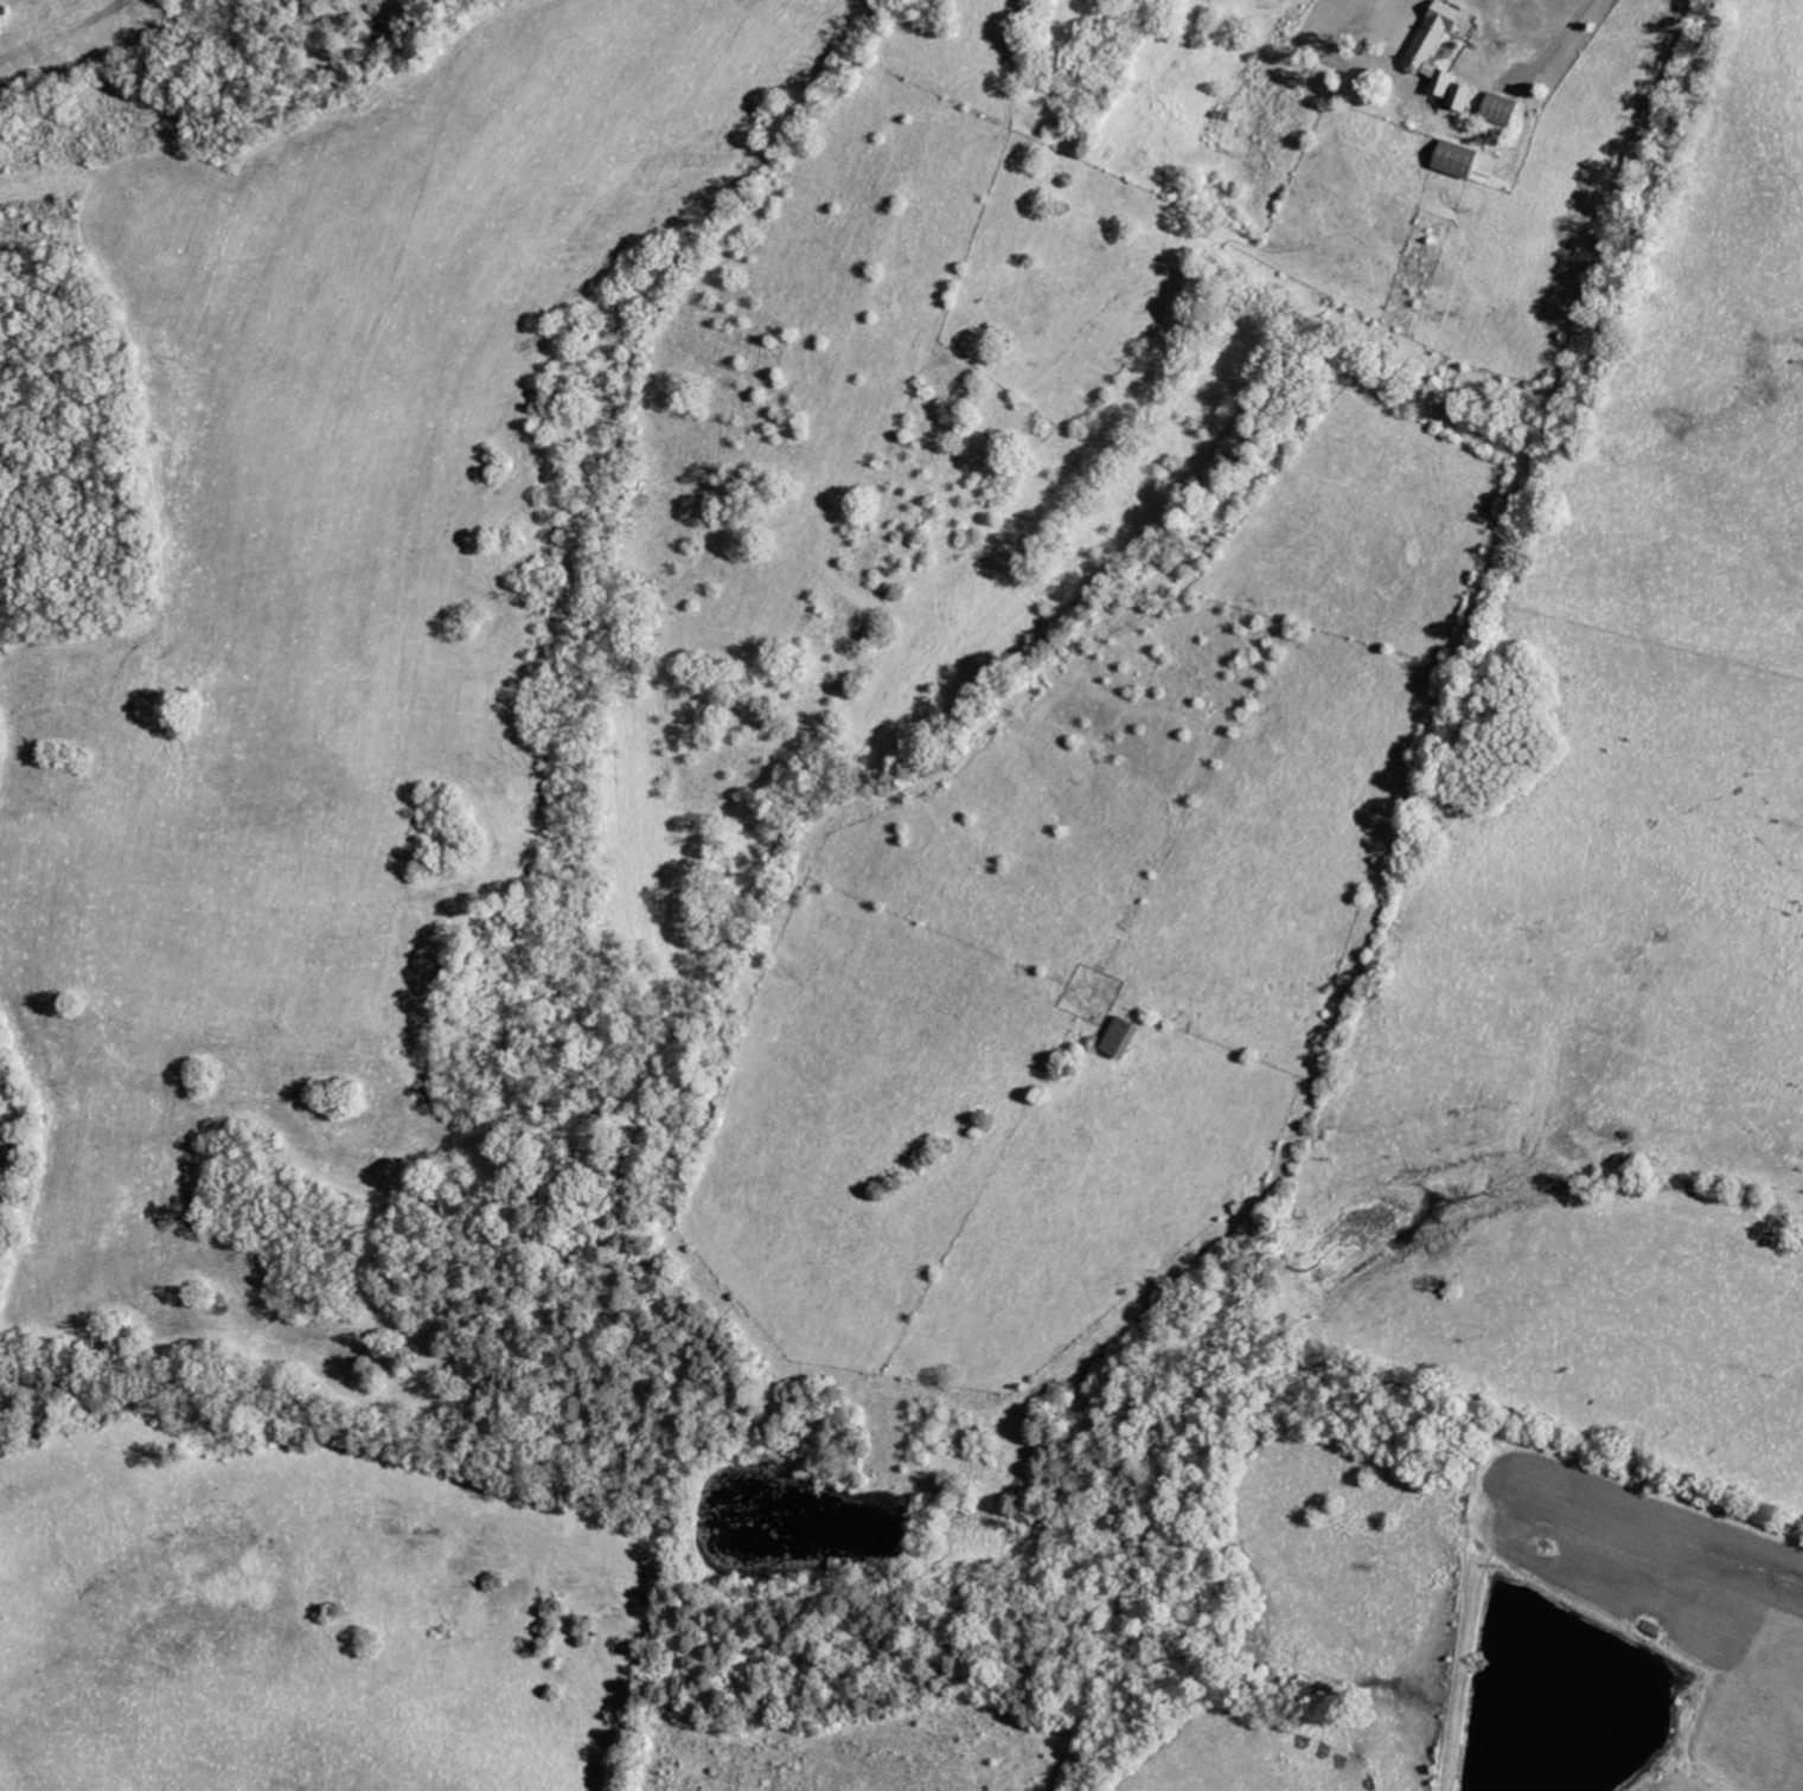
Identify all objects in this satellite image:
road: (1565, 34)
building: (1427, 46)
building: (1501, 108)
building: (1458, 159)

